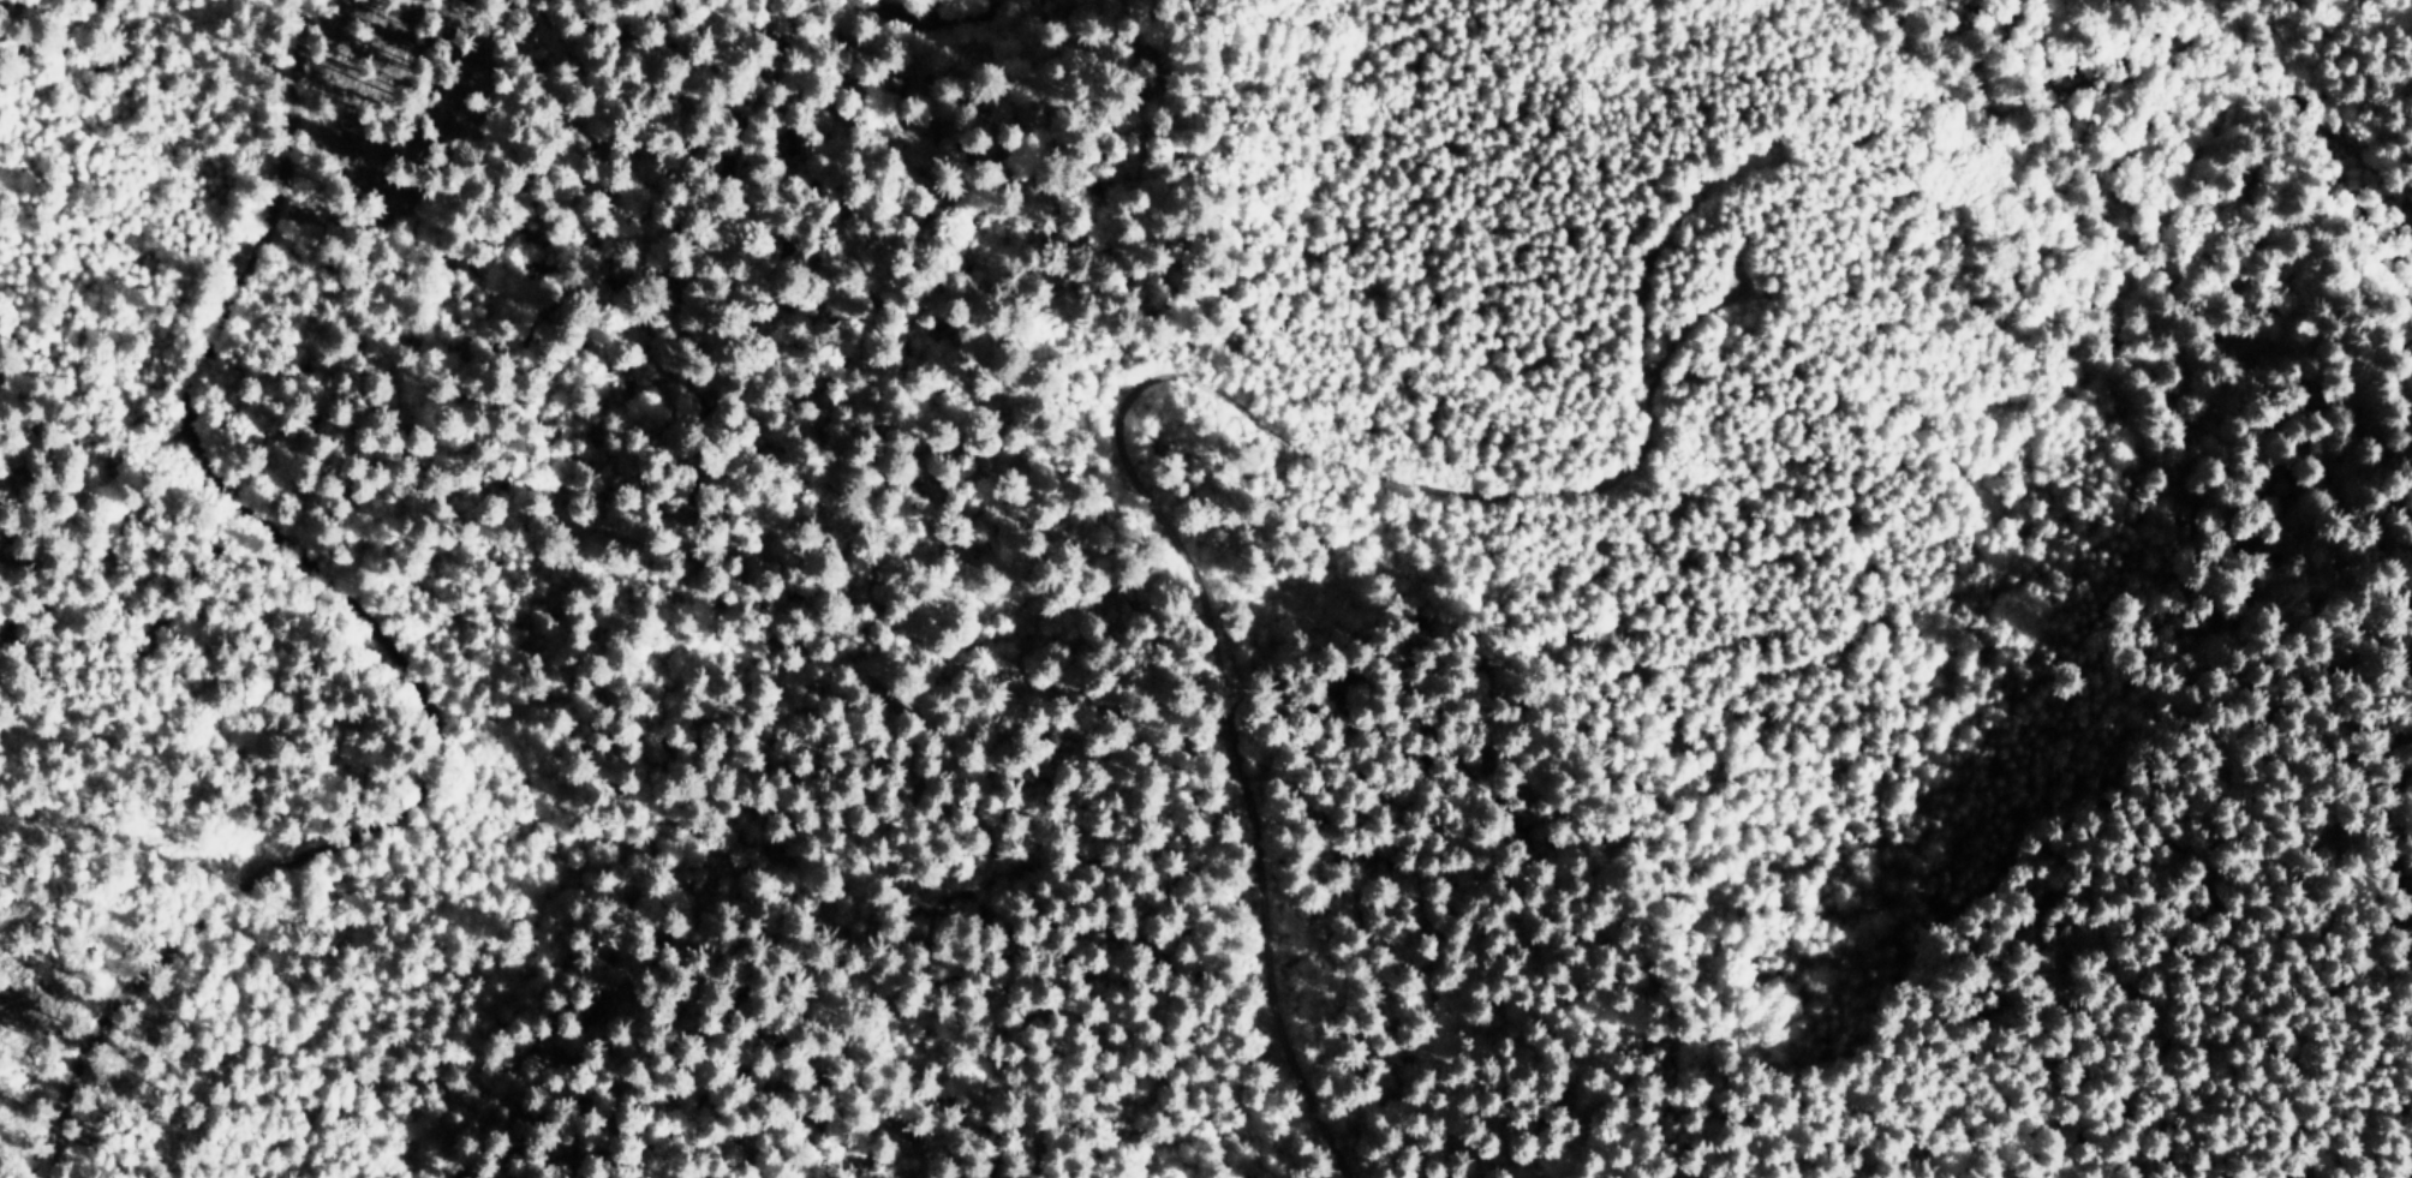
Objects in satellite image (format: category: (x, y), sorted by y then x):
road: (2153, 59)
road: (382, 626)

